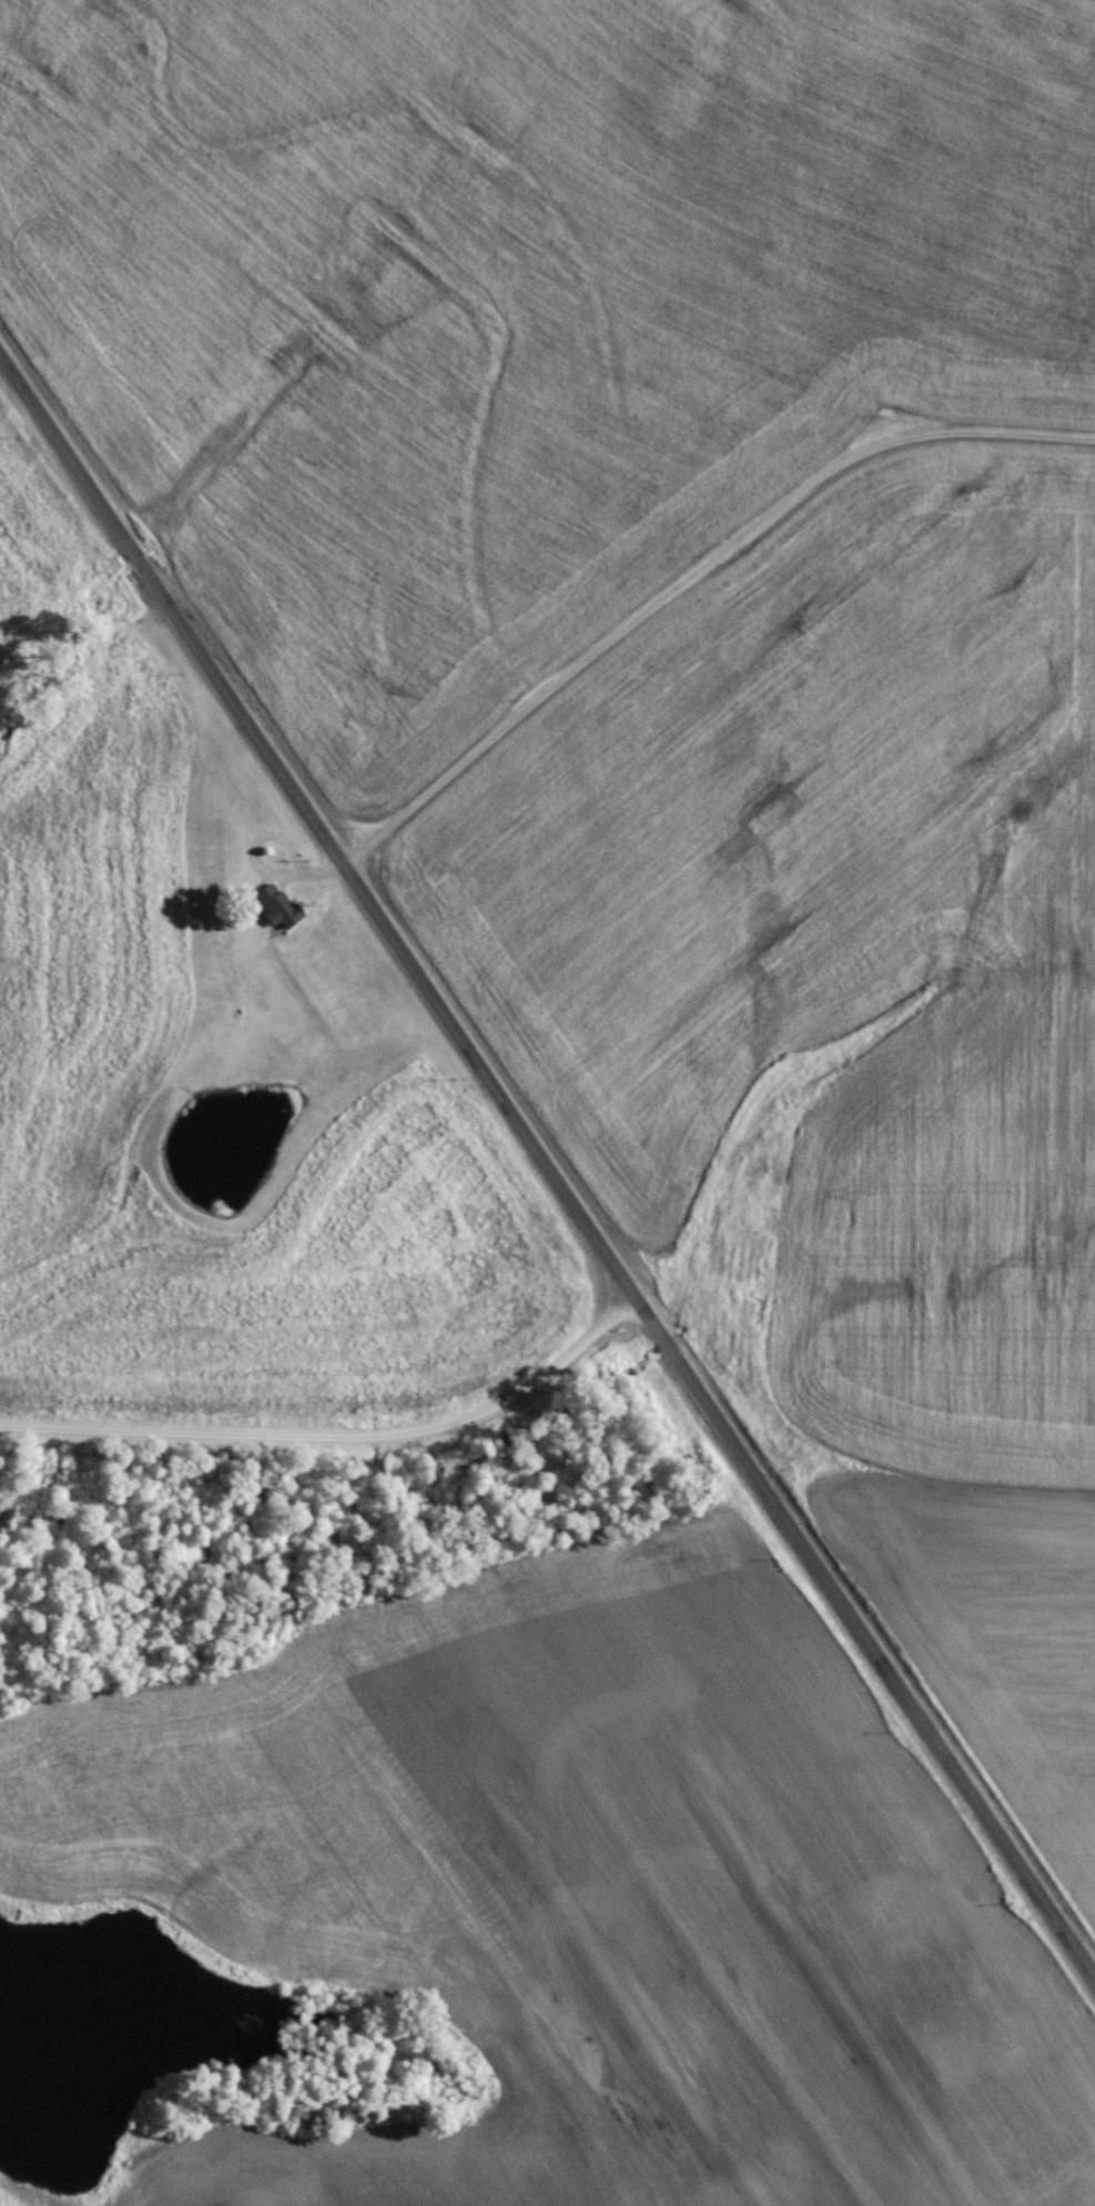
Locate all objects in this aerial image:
building: (280, 905)
road: (545, 1166)
road: (337, 1427)

